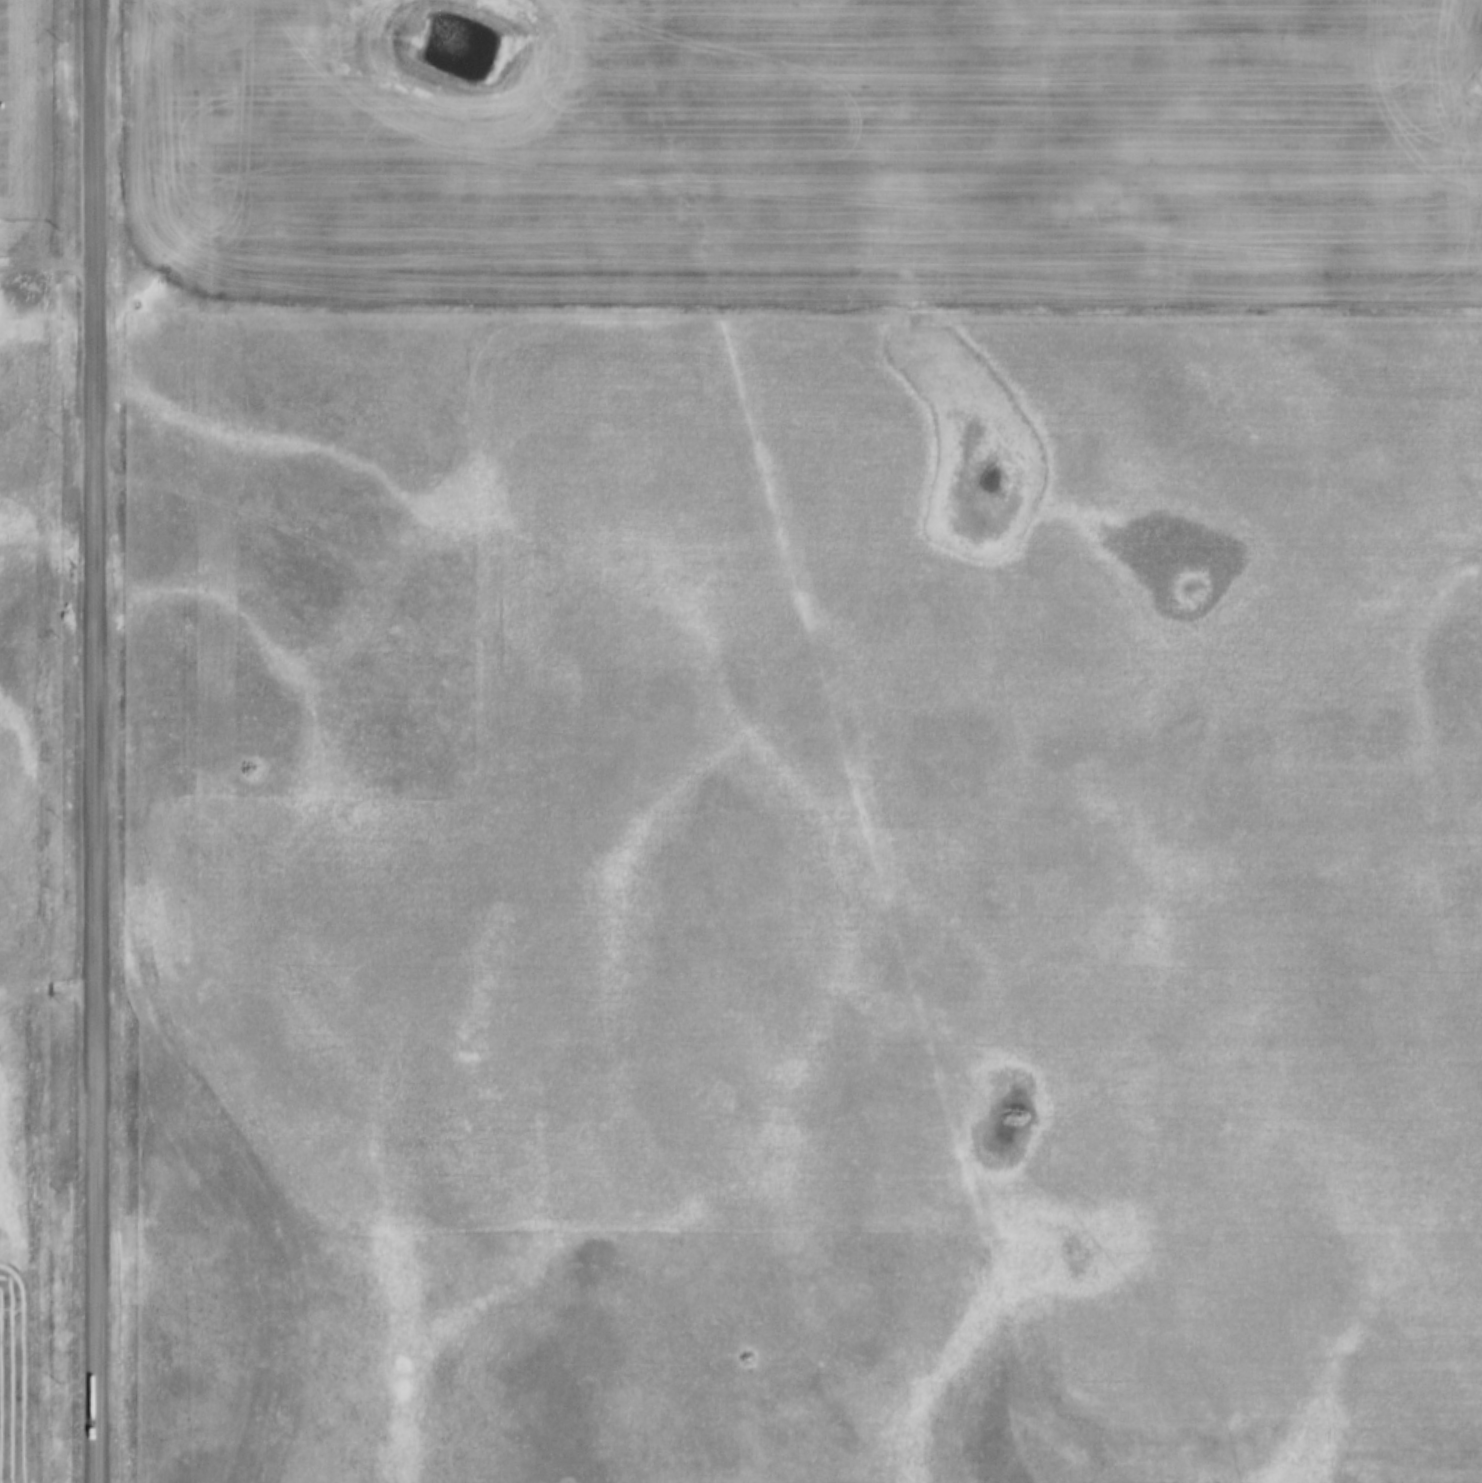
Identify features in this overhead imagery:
road: (47, 267)
road: (94, 741)

